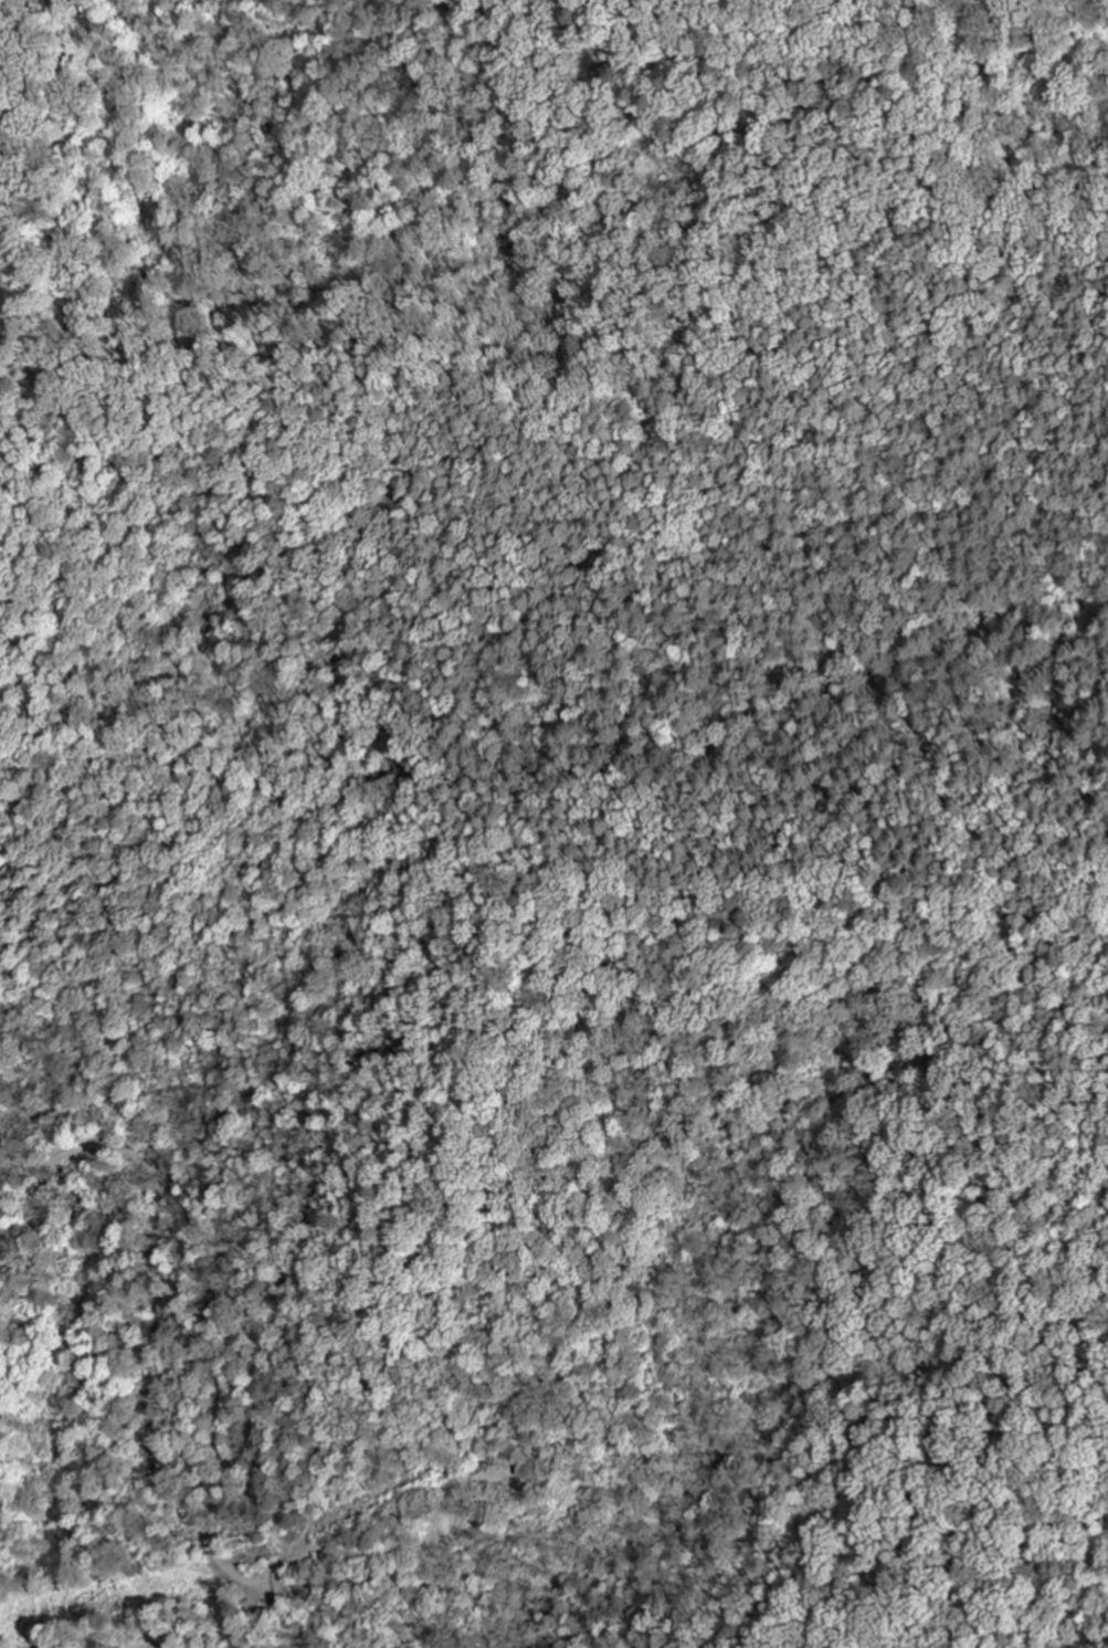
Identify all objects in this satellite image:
road: (152, 1434)

